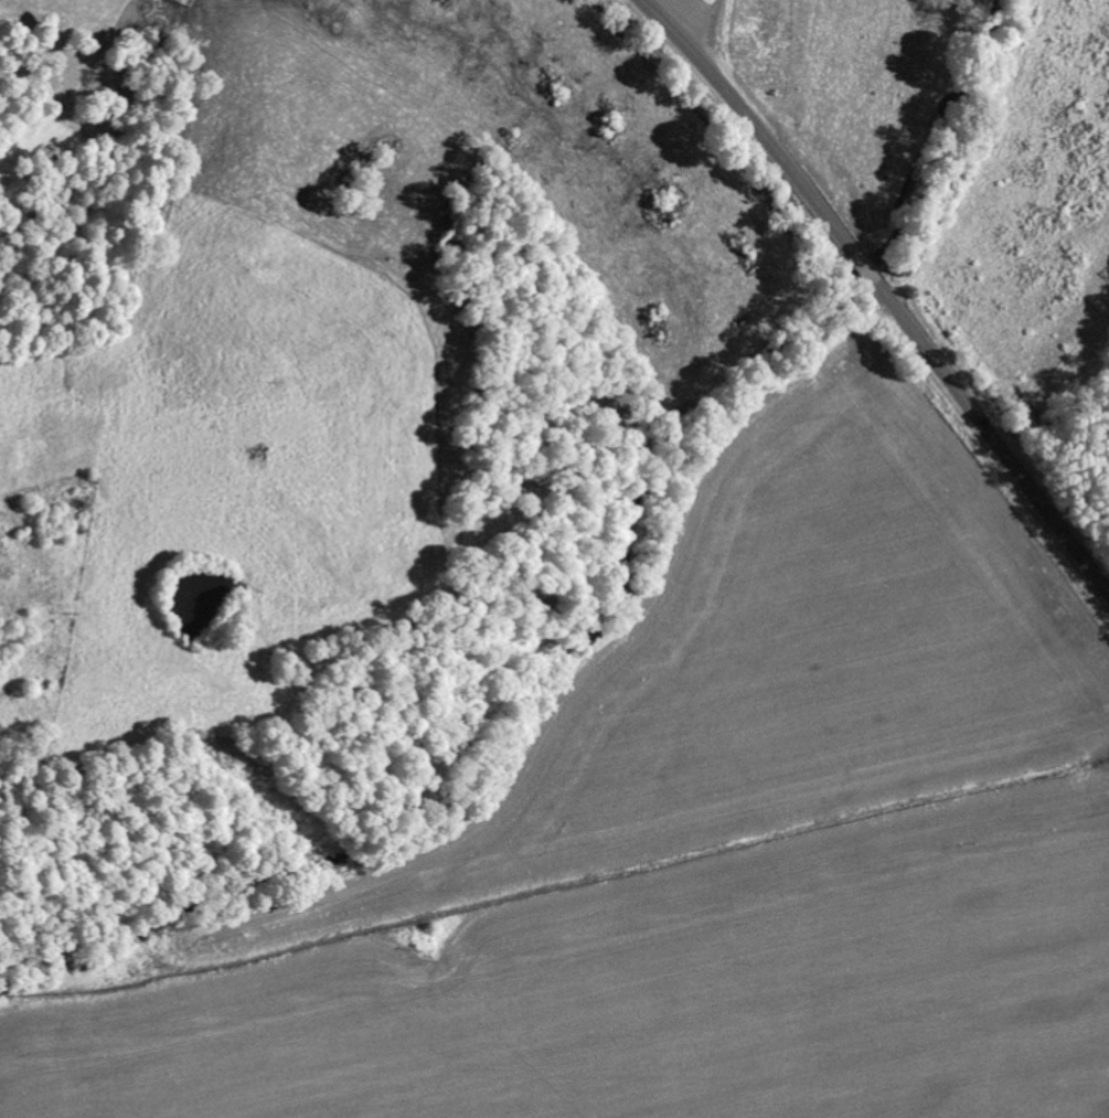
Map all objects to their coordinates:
road: (881, 291)

